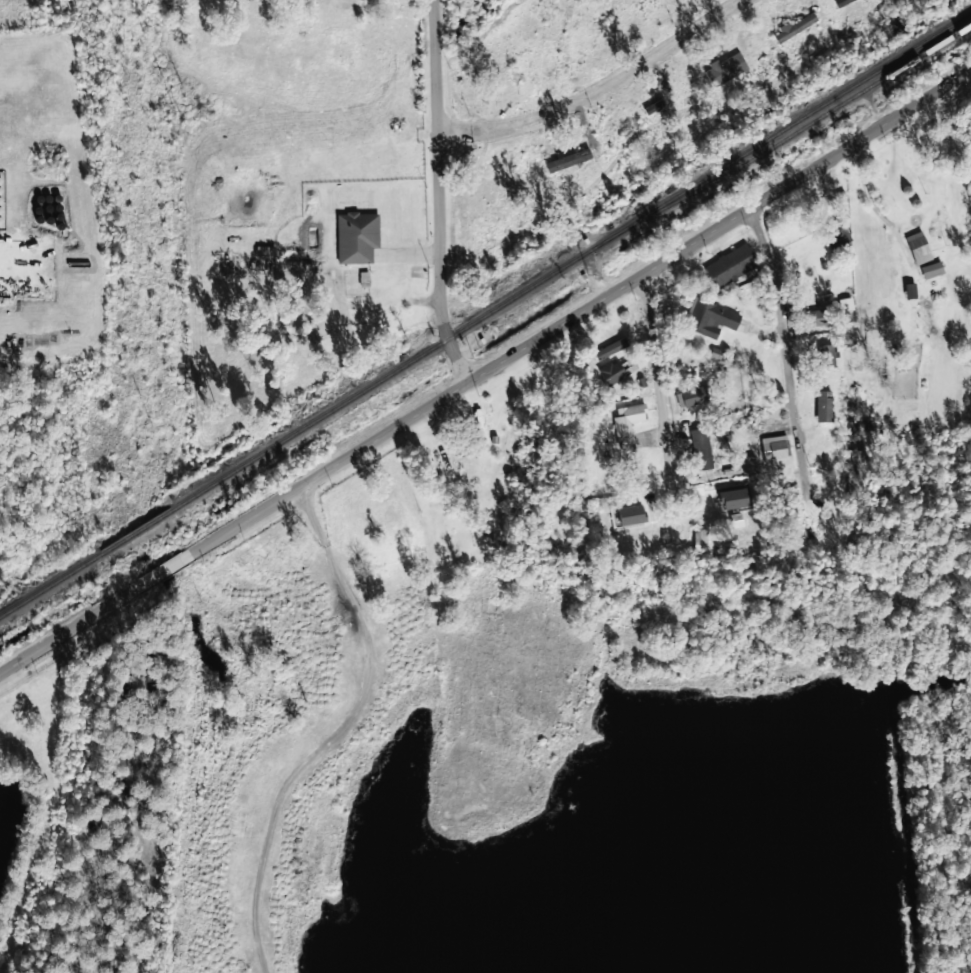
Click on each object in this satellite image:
building: (841, 2)
building: (794, 27)
building: (724, 69)
railway: (802, 128)
building: (568, 160)
road: (435, 195)
building: (833, 233)
building: (356, 237)
building: (917, 248)
building: (302, 259)
road: (2, 263)
building: (729, 265)
building: (931, 270)
railway: (485, 314)
building: (816, 317)
building: (710, 318)
building: (610, 348)
building: (827, 355)
road: (784, 360)
building: (618, 370)
road: (485, 371)
road: (660, 382)
building: (689, 397)
building: (823, 406)
building: (627, 422)
building: (773, 447)
building: (701, 449)
building: (748, 511)
building: (629, 518)
building: (699, 540)

